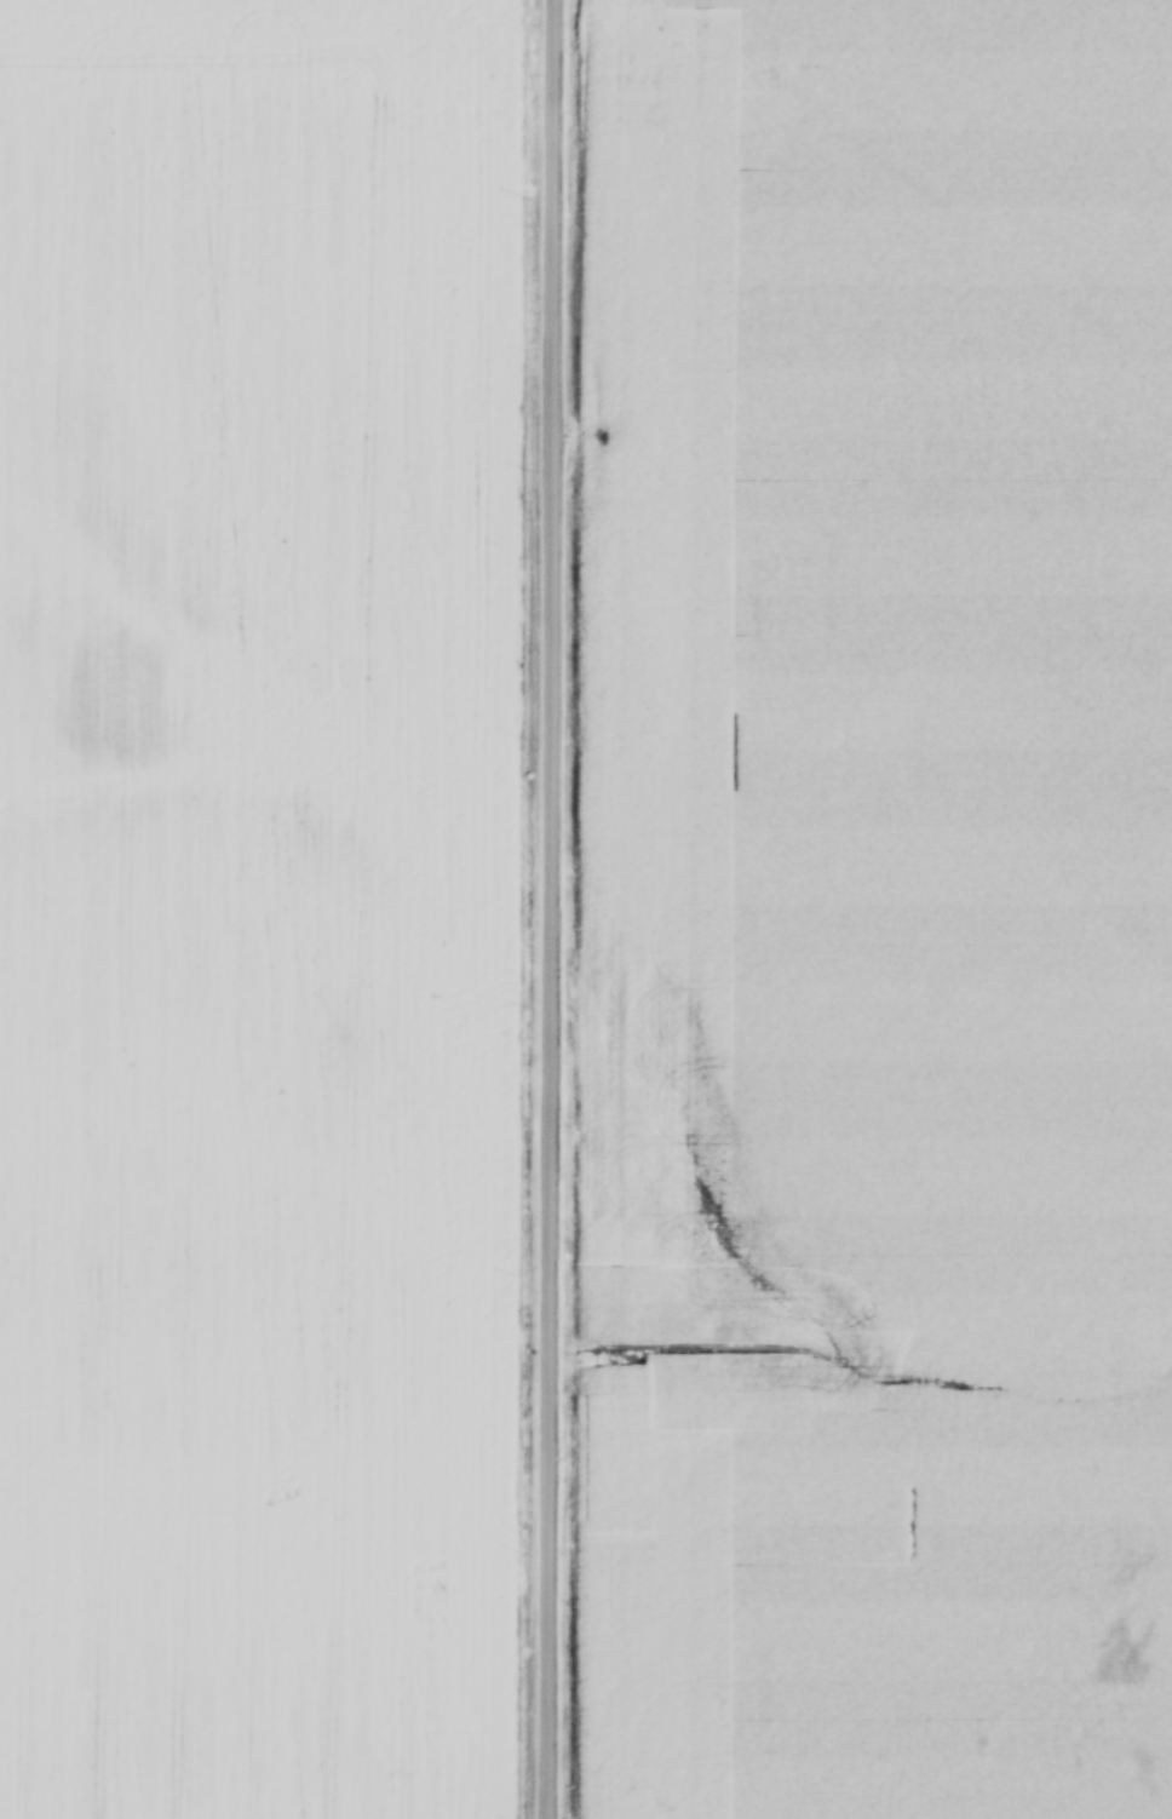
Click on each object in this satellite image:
road: (552, 909)

